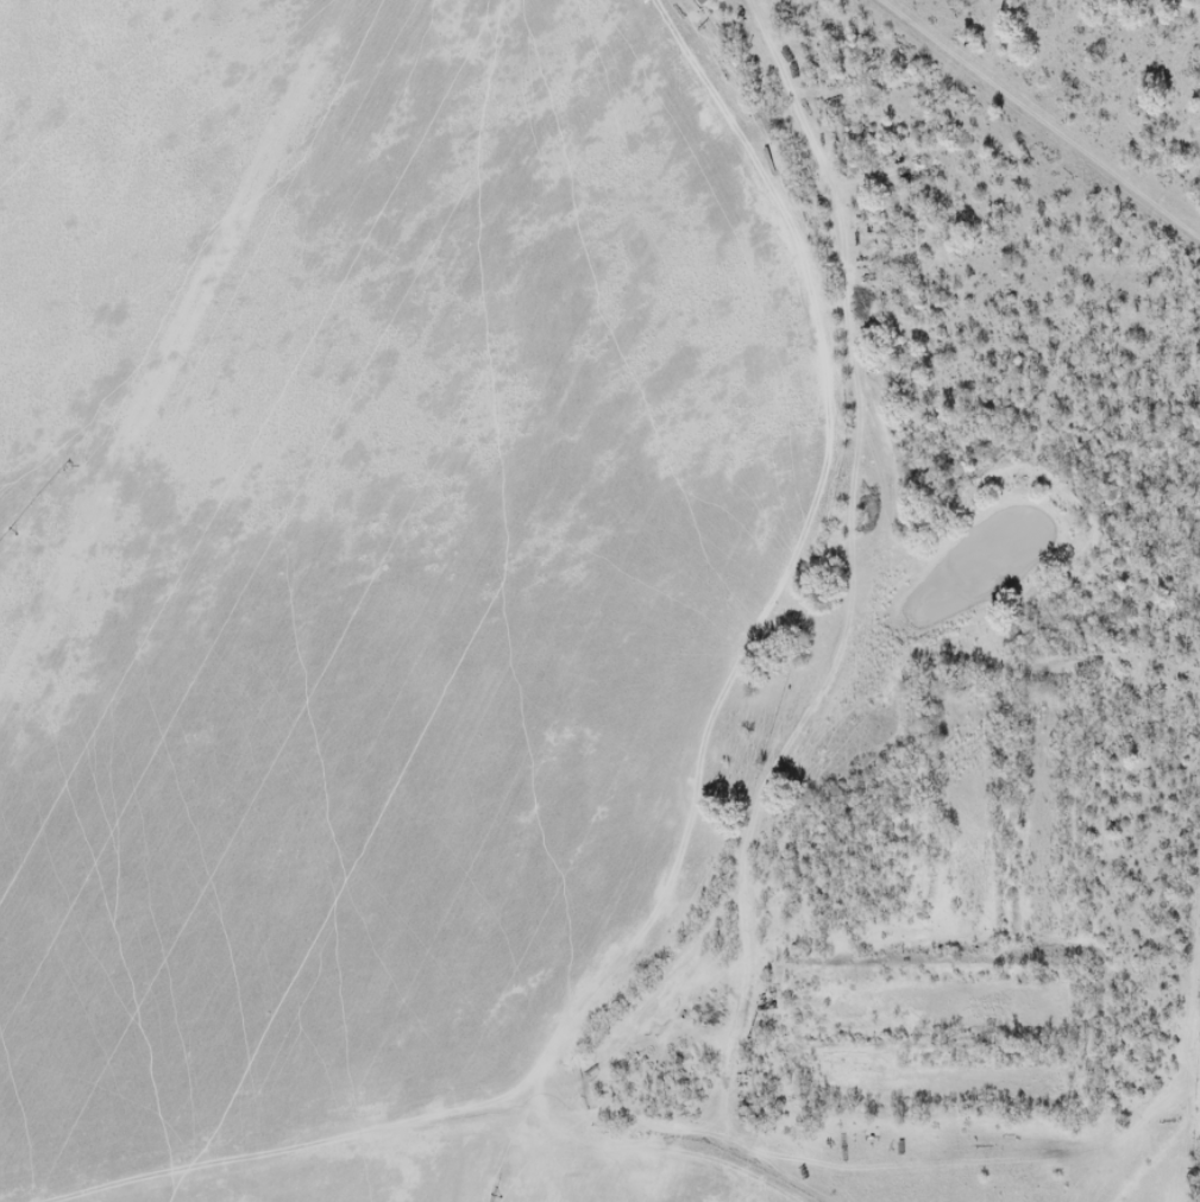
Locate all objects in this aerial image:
building: (730, 97)
road: (841, 240)

